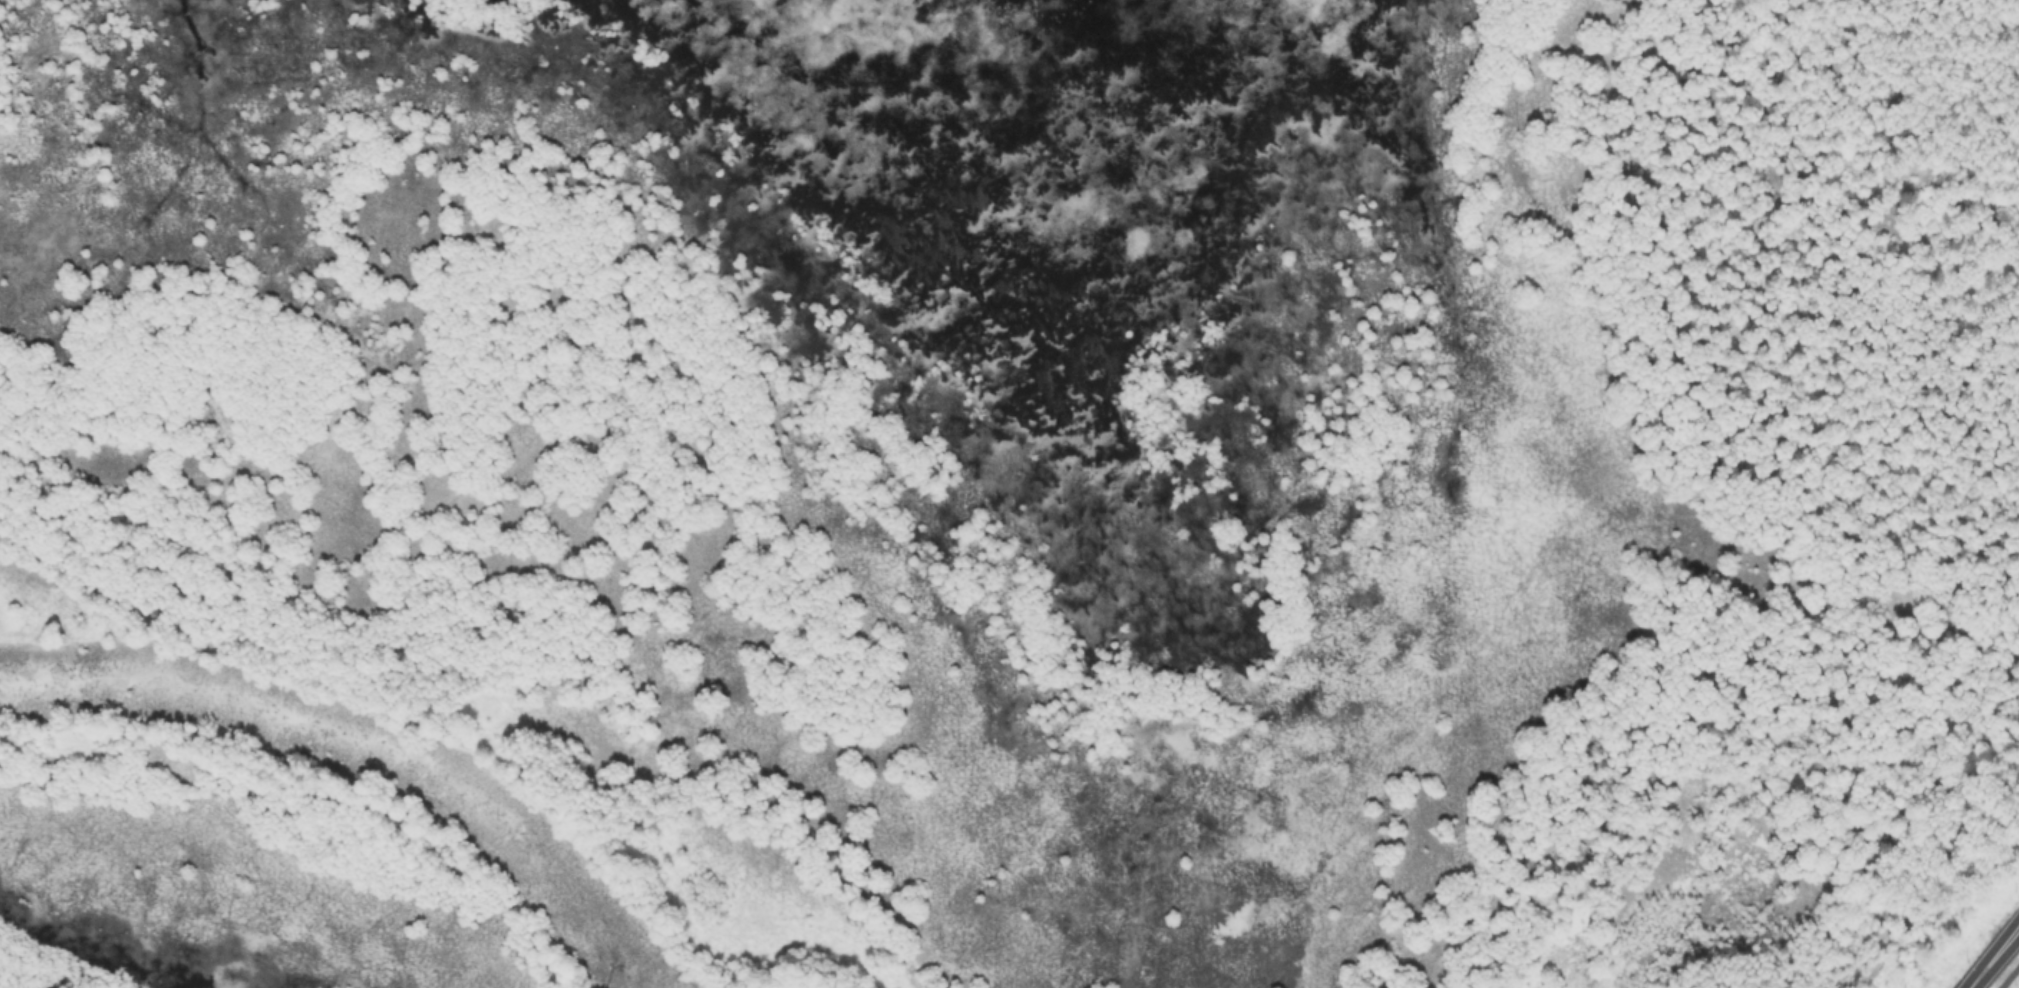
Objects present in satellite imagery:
road: (1994, 958)
road: (2009, 977)

